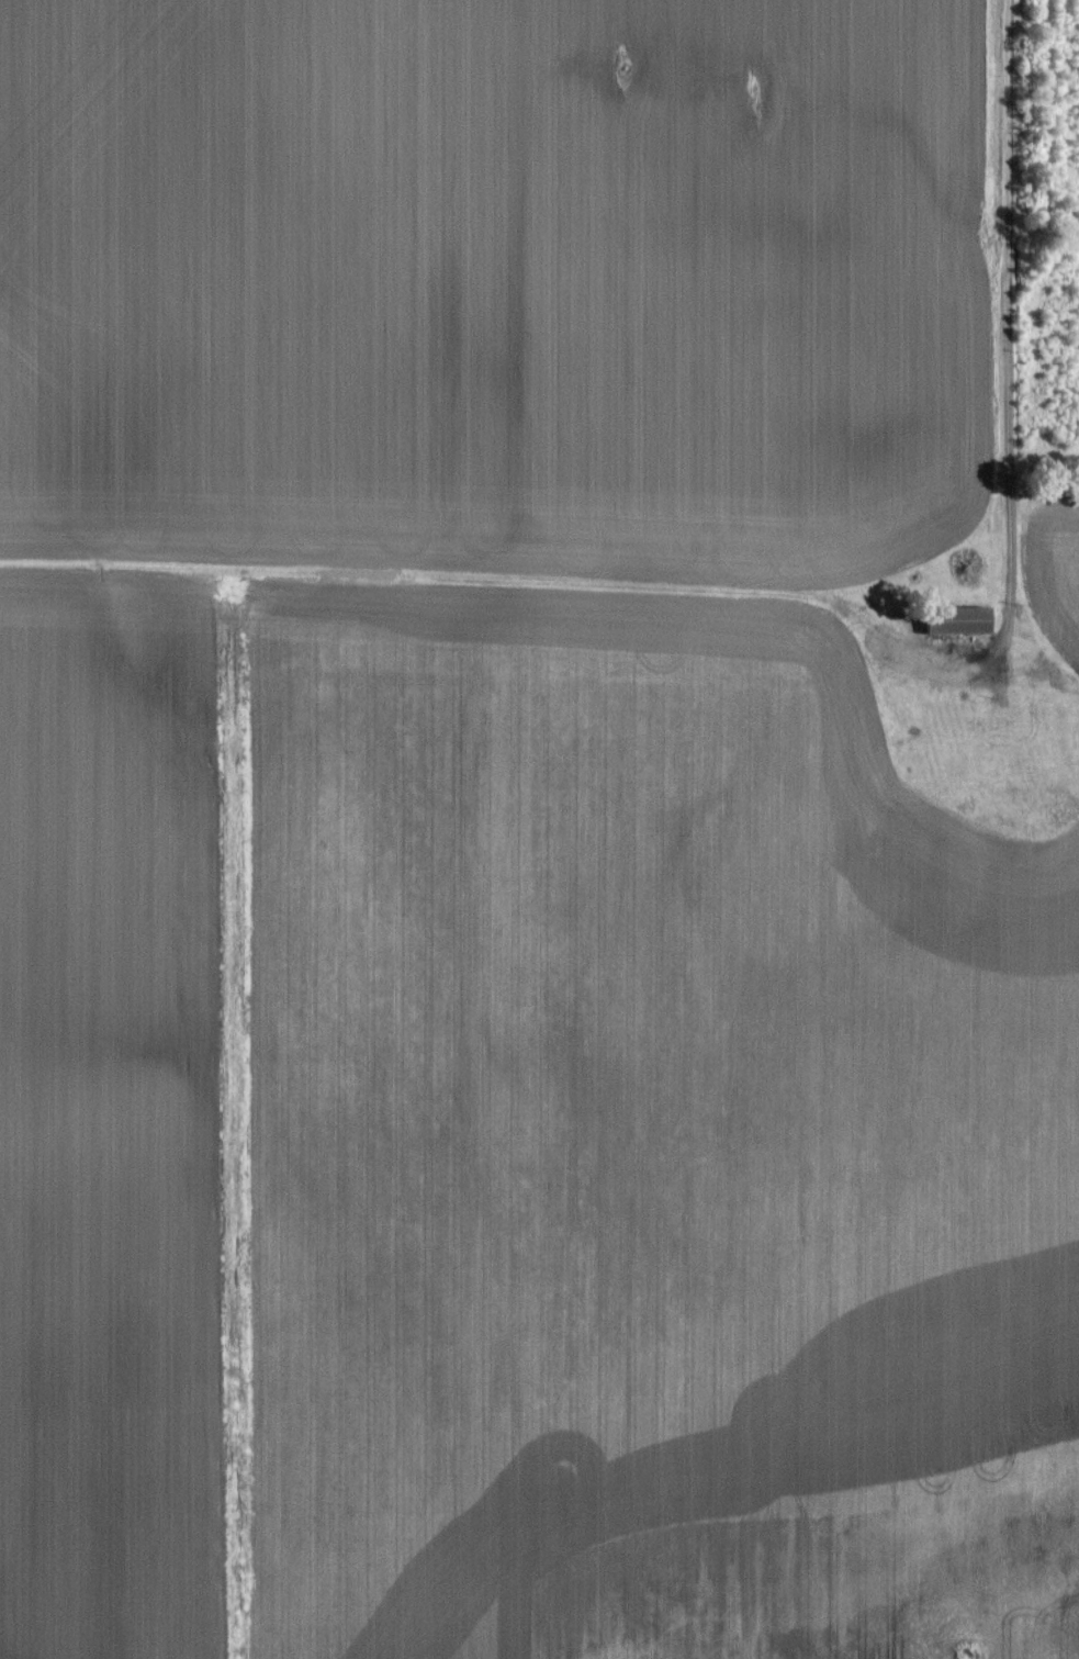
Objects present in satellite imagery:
road: (832, 609)

